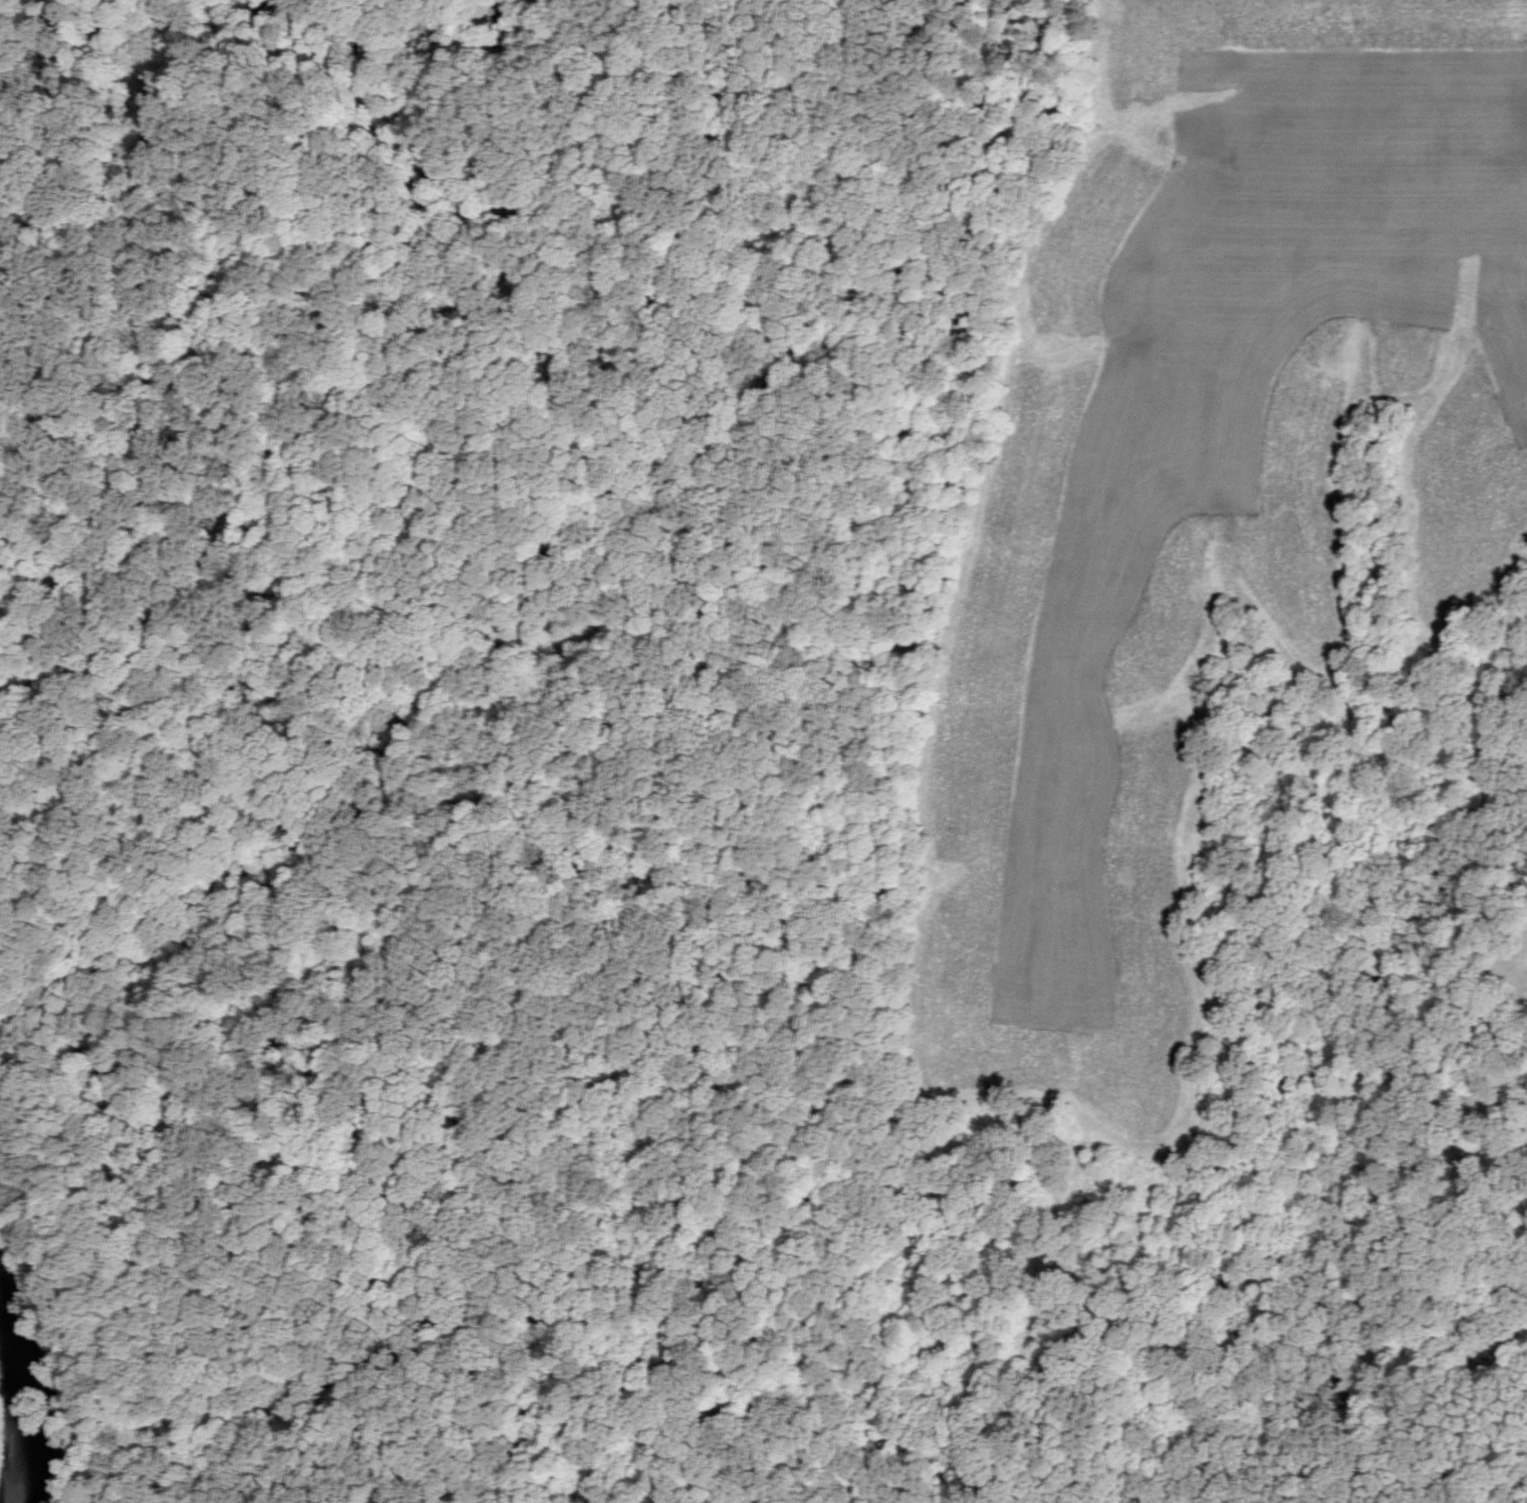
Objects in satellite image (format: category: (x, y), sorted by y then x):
river: (15, 1382)

